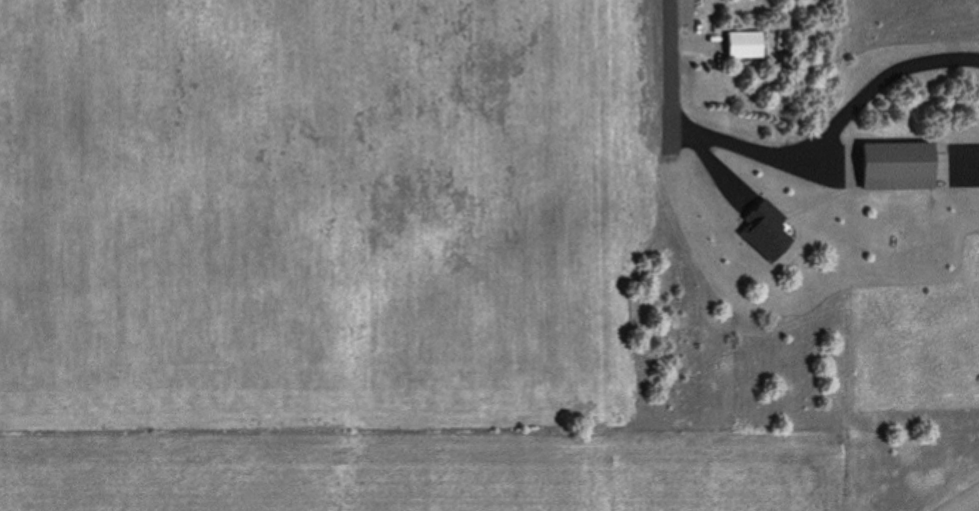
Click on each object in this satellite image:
building: (742, 44)
road: (670, 75)
road: (832, 132)
road: (720, 160)
building: (890, 165)
crop: (331, 213)
building: (769, 213)
building: (763, 238)
road: (384, 437)
airport: (509, 466)
road: (425, 474)

